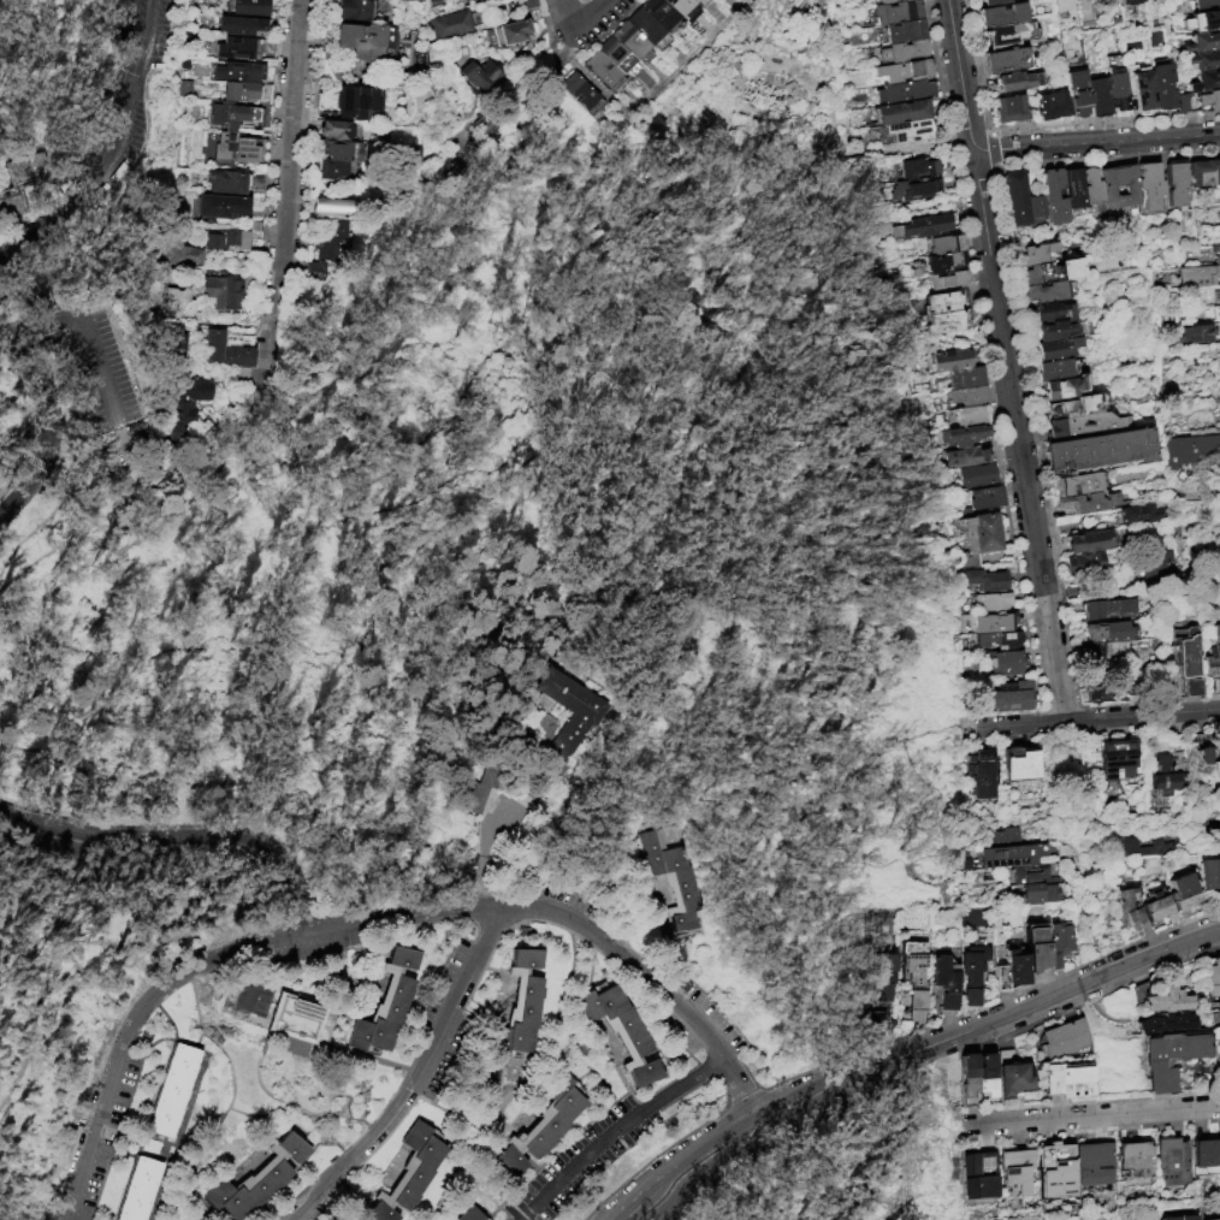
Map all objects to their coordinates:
building: (902, 0)
building: (1020, 0)
building: (1095, 0)
building: (1106, 0)
building: (887, 1)
building: (701, 2)
building: (994, 2)
building: (1131, 2)
building: (528, 4)
building: (1203, 6)
building: (248, 7)
building: (1064, 7)
building: (686, 8)
building: (354, 11)
road: (567, 12)
road: (591, 13)
building: (662, 13)
building: (894, 13)
building: (1002, 16)
building: (1212, 20)
building: (450, 24)
building: (243, 26)
building: (650, 29)
building: (905, 31)
building: (509, 34)
building: (1009, 35)
building: (1203, 42)
building: (366, 43)
building: (634, 43)
road: (137, 47)
building: (244, 48)
building: (902, 52)
building: (620, 59)
building: (1009, 61)
building: (1204, 61)
parking lot: (135, 71)
building: (238, 71)
building: (905, 71)
building: (606, 72)
road: (959, 75)
building: (484, 77)
building: (1019, 81)
building: (1207, 82)
building: (1118, 84)
building: (1163, 88)
building: (1142, 89)
building: (247, 91)
building: (581, 91)
building: (904, 91)
road: (533, 95)
building: (1079, 95)
building: (1100, 97)
building: (1198, 102)
building: (356, 103)
building: (1053, 107)
building: (1011, 109)
building: (902, 112)
building: (239, 116)
road: (122, 120)
road: (1036, 129)
building: (334, 132)
building: (904, 132)
road: (990, 134)
road: (1095, 141)
building: (242, 147)
road: (994, 149)
building: (339, 152)
road: (1106, 160)
building: (914, 168)
building: (331, 171)
road: (975, 172)
building: (1206, 173)
building: (227, 182)
building: (20, 184)
building: (1177, 185)
building: (1151, 186)
building: (914, 189)
building: (1074, 189)
road: (288, 190)
building: (1094, 190)
building: (1109, 190)
building: (1055, 197)
building: (1015, 199)
building: (224, 207)
building: (331, 209)
building: (1037, 209)
road: (39, 220)
building: (924, 226)
building: (227, 239)
building: (947, 243)
building: (326, 245)
building: (1037, 254)
building: (184, 256)
building: (1219, 256)
building: (946, 261)
building: (1050, 272)
building: (1198, 276)
building: (950, 280)
building: (1049, 291)
building: (225, 292)
building: (942, 302)
building: (180, 303)
building: (1053, 312)
road: (39, 320)
building: (950, 320)
road: (978, 326)
building: (1200, 326)
building: (1061, 330)
building: (174, 343)
building: (1060, 350)
building: (227, 351)
building: (957, 359)
road: (99, 362)
building: (1056, 371)
parking lot: (84, 374)
building: (967, 377)
building: (1064, 389)
building: (970, 395)
building: (188, 404)
building: (1079, 405)
road: (1031, 411)
building: (973, 415)
building: (1085, 425)
road: (46, 426)
road: (22, 436)
building: (965, 436)
building: (1098, 450)
building: (1189, 450)
building: (970, 456)
road: (1020, 458)
building: (979, 475)
building: (1079, 485)
road: (416, 494)
building: (989, 498)
building: (1088, 503)
building: (1142, 515)
road: (40, 516)
road: (146, 531)
building: (982, 531)
building: (1089, 543)
building: (1086, 564)
building: (1156, 564)
building: (988, 579)
building: (994, 602)
building: (1109, 610)
building: (996, 622)
building: (1112, 633)
building: (1001, 640)
building: (1185, 649)
building: (1115, 652)
park: (450, 653)
building: (1213, 655)
building: (1007, 663)
road: (1034, 683)
road: (1072, 685)
building: (1095, 685)
building: (1192, 687)
building: (1014, 698)
road: (1159, 701)
road: (1085, 706)
road: (1000, 713)
road: (1090, 719)
building: (581, 721)
road: (1090, 730)
road: (932, 732)
road: (961, 733)
building: (1119, 756)
building: (1024, 764)
building: (1207, 766)
building: (1168, 772)
building: (983, 774)
road: (254, 778)
building: (480, 790)
road: (173, 839)
building: (1002, 839)
road: (481, 848)
building: (1141, 848)
building: (1018, 857)
road: (1086, 873)
building: (674, 875)
building: (1209, 875)
building: (1035, 876)
building: (1044, 894)
building: (1184, 895)
building: (1160, 907)
building: (1133, 912)
road: (29, 916)
road: (334, 916)
road: (1160, 931)
road: (119, 940)
building: (1061, 946)
building: (1038, 948)
road: (253, 969)
building: (1014, 973)
building: (976, 975)
building: (916, 976)
building: (948, 977)
building: (1214, 978)
building: (882, 988)
parking lot: (253, 1000)
road: (1041, 1002)
building: (1168, 1002)
building: (387, 1007)
building: (522, 1008)
building: (300, 1020)
building: (1165, 1023)
building: (622, 1032)
building: (1066, 1040)
road: (13, 1054)
building: (1219, 1058)
building: (1173, 1059)
road: (739, 1065)
building: (981, 1076)
building: (1014, 1076)
road: (421, 1077)
building: (1071, 1082)
road: (685, 1089)
road: (740, 1089)
building: (174, 1092)
road: (807, 1094)
road: (740, 1096)
road: (919, 1100)
road: (811, 1102)
building: (302, 1114)
road: (1085, 1119)
building: (313, 1121)
building: (307, 1125)
building: (544, 1125)
road: (758, 1125)
road: (691, 1132)
building: (1207, 1153)
road: (585, 1155)
building: (1137, 1157)
building: (1173, 1162)
road: (680, 1163)
building: (1095, 1165)
building: (1058, 1171)
road: (705, 1174)
building: (408, 1175)
building: (981, 1177)
building: (1015, 1178)
building: (259, 1181)
building: (143, 1190)
building: (473, 1215)
building: (1180, 1218)
building: (1219, 1219)

